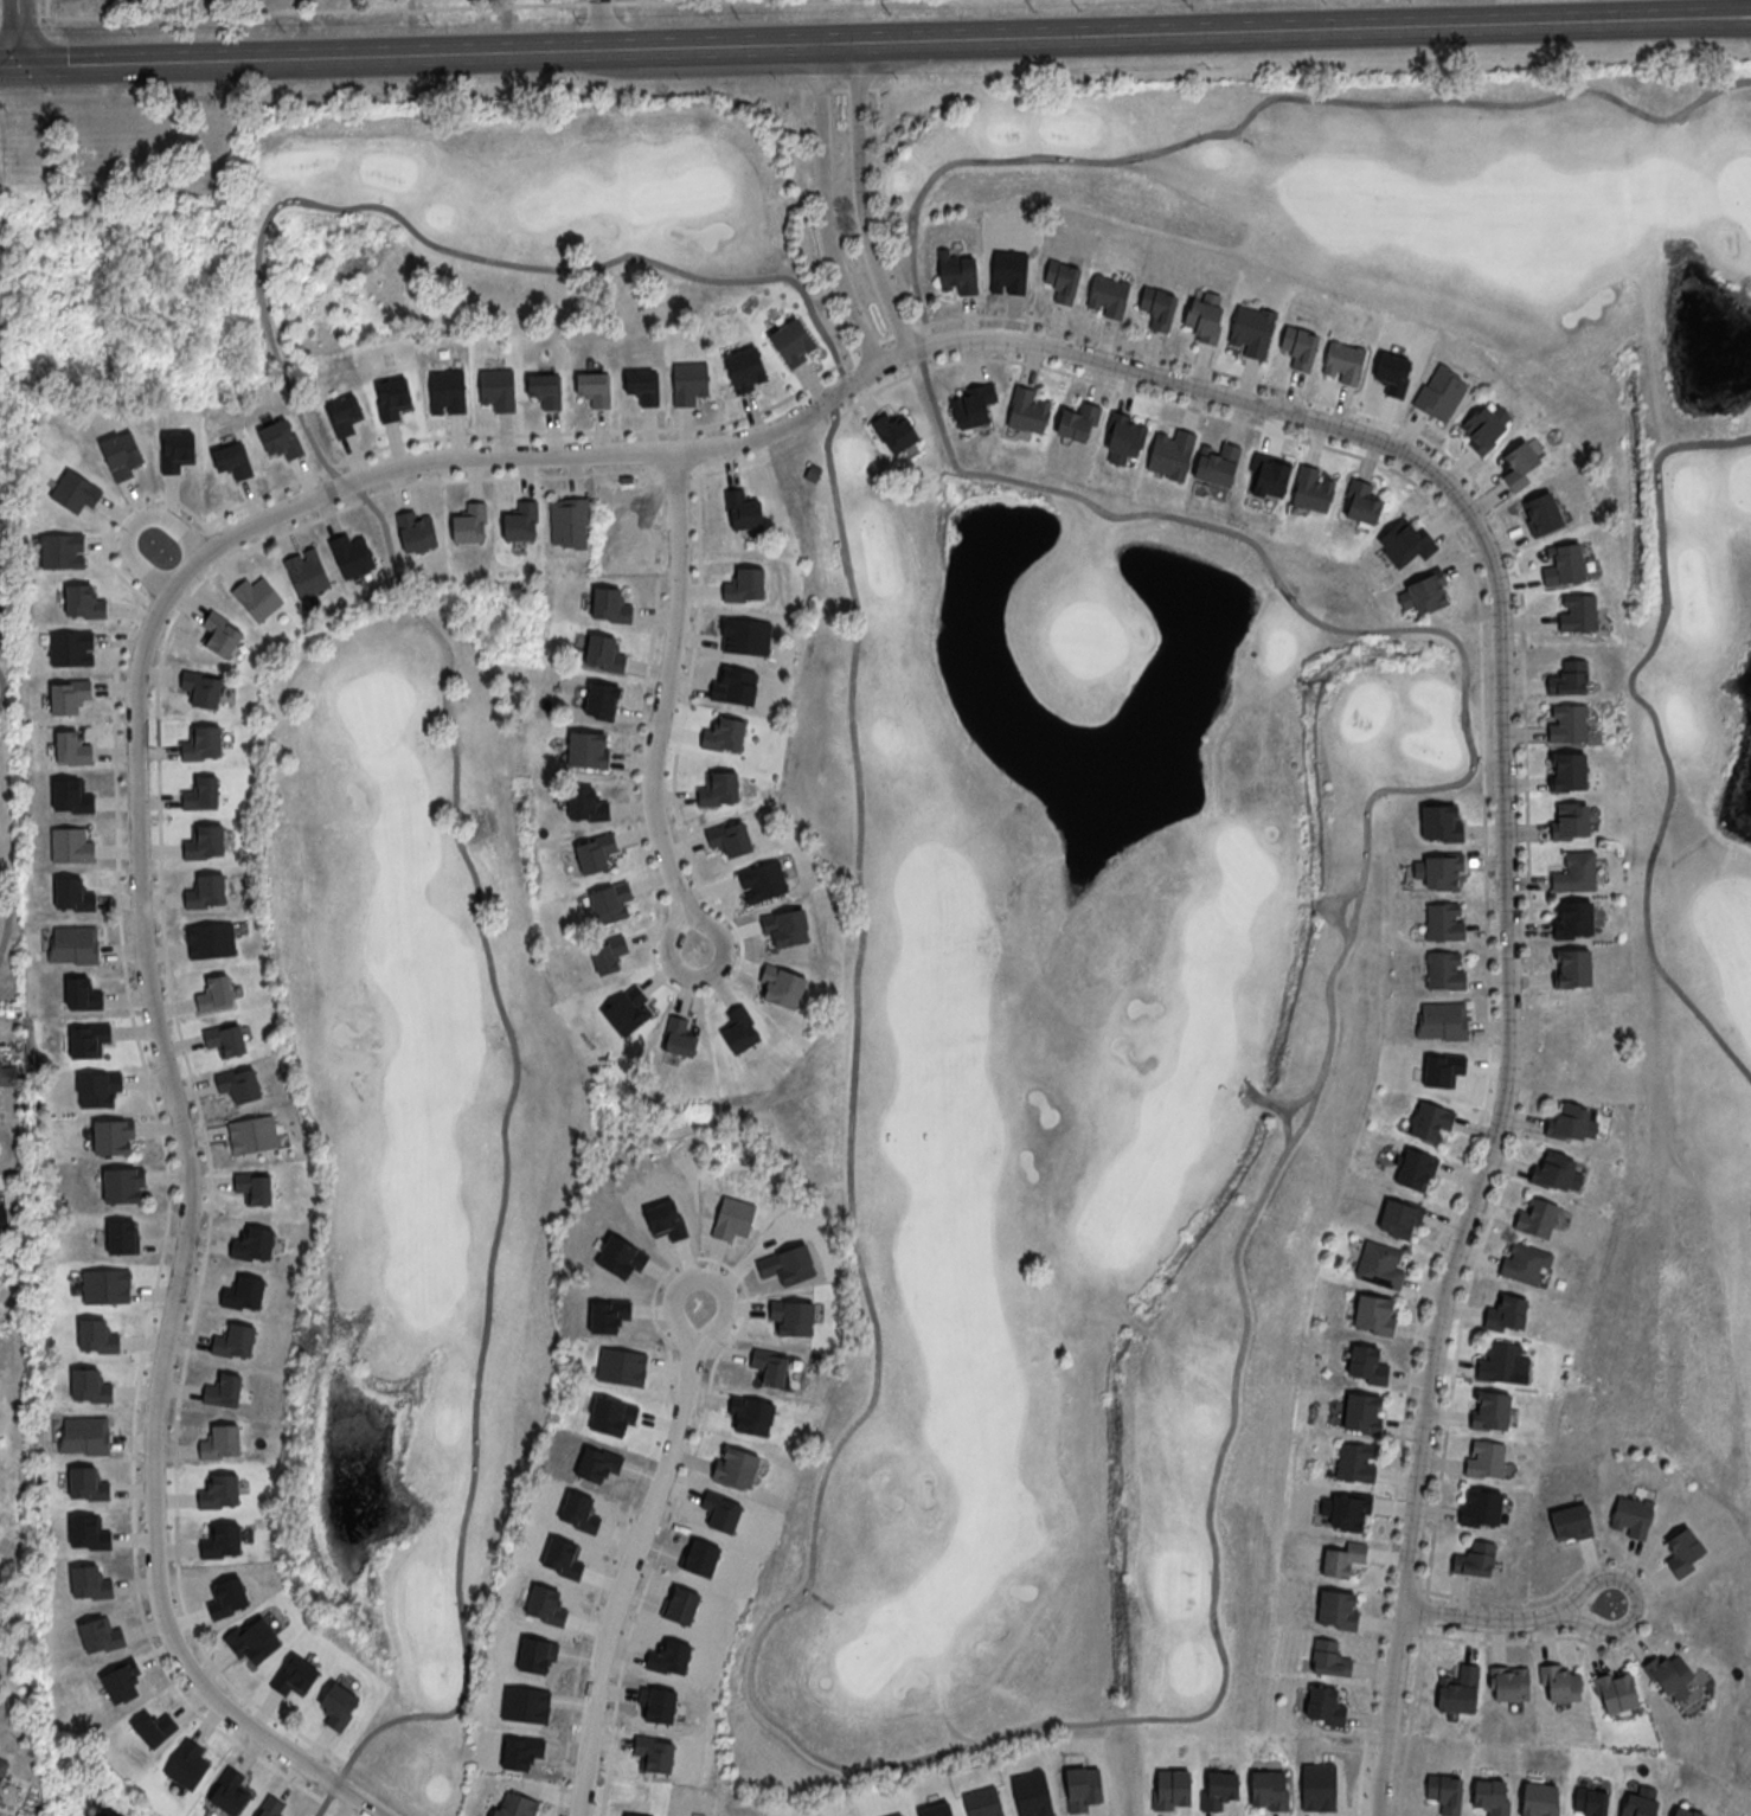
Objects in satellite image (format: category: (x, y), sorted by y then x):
road: (649, 1)
road: (598, 2)
road: (46, 8)
road: (310, 9)
road: (17, 18)
road: (598, 25)
road: (1303, 30)
road: (17, 32)
road: (601, 49)
road: (173, 60)
traffic signals: (19, 64)
road: (1253, 108)
road: (284, 201)
road: (860, 201)
road: (826, 208)
road: (269, 213)
road: (262, 232)
road: (597, 264)
building: (1012, 264)
building: (957, 274)
building: (1063, 282)
building: (1107, 296)
building: (1157, 307)
building: (1205, 319)
building: (1250, 332)
building: (793, 341)
building: (1298, 346)
building: (1343, 364)
road: (1191, 365)
road: (283, 371)
building: (745, 371)
building: (688, 381)
building: (643, 389)
building: (498, 390)
building: (594, 390)
building: (447, 392)
building: (545, 392)
building: (1441, 393)
road: (1219, 394)
building: (393, 400)
building: (973, 406)
building: (1027, 412)
building: (344, 417)
building: (1077, 423)
building: (894, 429)
building: (1484, 429)
road: (596, 432)
building: (1123, 438)
building: (281, 442)
building: (177, 453)
road: (567, 455)
building: (1170, 455)
building: (232, 460)
building: (1216, 466)
building: (1519, 468)
road: (1402, 474)
building: (1269, 476)
building: (1311, 492)
building: (75, 493)
road: (365, 500)
building: (1361, 503)
building: (742, 509)
building: (1541, 515)
road: (163, 519)
road: (315, 520)
building: (569, 521)
building: (519, 526)
building: (467, 527)
building: (1406, 544)
building: (62, 550)
building: (352, 552)
building: (1563, 566)
road: (141, 570)
building: (306, 571)
road: (4, 582)
building: (744, 585)
building: (1425, 592)
building: (257, 598)
building: (83, 602)
building: (1576, 611)
building: (71, 648)
building: (604, 650)
building: (1569, 678)
road: (667, 684)
road: (1522, 686)
road: (1, 689)
building: (68, 695)
building: (601, 701)
building: (1566, 724)
road: (1657, 727)
building: (201, 742)
building: (72, 747)
building: (588, 749)
building: (1567, 771)
road: (629, 774)
building: (201, 793)
building: (71, 796)
building: (586, 803)
building: (1570, 820)
building: (1441, 822)
building: (733, 839)
building: (204, 841)
building: (71, 846)
building: (594, 852)
park: (996, 866)
building: (1438, 871)
building: (1576, 872)
building: (762, 880)
building: (205, 890)
building: (610, 900)
road: (7, 909)
building: (1572, 918)
building: (1443, 920)
building: (211, 939)
building: (73, 944)
building: (603, 957)
building: (1570, 968)
building: (1443, 970)
road: (705, 977)
building: (216, 993)
building: (1442, 1020)
building: (739, 1028)
building: (679, 1037)
building: (225, 1038)
building: (88, 1039)
building: (7, 1073)
building: (238, 1083)
building: (98, 1086)
road: (7, 1105)
road: (4, 1108)
road: (1282, 1109)
building: (1430, 1122)
building: (1570, 1122)
road: (1285, 1127)
road: (1474, 1130)
building: (252, 1134)
building: (111, 1135)
road: (1493, 1148)
road: (9, 1151)
building: (1415, 1168)
road: (505, 1170)
building: (1556, 1172)
building: (123, 1183)
building: (252, 1187)
building: (1397, 1217)
building: (1535, 1217)
building: (2, 1219)
road: (166, 1232)
building: (120, 1236)
building: (252, 1244)
road: (184, 1252)
building: (1525, 1263)
building: (1379, 1264)
road: (703, 1276)
building: (105, 1286)
building: (243, 1292)
building: (1506, 1313)
building: (1373, 1314)
building: (96, 1336)
building: (233, 1340)
building: (1501, 1362)
building: (1367, 1363)
building: (89, 1385)
building: (223, 1390)
building: (1489, 1410)
building: (1361, 1412)
road: (1402, 1419)
building: (85, 1435)
building: (219, 1442)
road: (1443, 1450)
building: (1486, 1458)
building: (1354, 1462)
building: (735, 1465)
building: (86, 1483)
building: (219, 1490)
building: (1480, 1508)
building: (1348, 1509)
building: (1631, 1515)
building: (1570, 1522)
building: (88, 1532)
building: (220, 1540)
building: (1682, 1551)
building: (1342, 1558)
building: (1474, 1559)
road: (623, 1578)
building: (89, 1581)
road: (1638, 1598)
building: (1336, 1609)
road: (1483, 1619)
building: (100, 1635)
building: (1328, 1657)
building: (1668, 1675)
building: (122, 1681)
building: (1508, 1683)
building: (1559, 1683)
building: (1457, 1690)
building: (1615, 1690)
road: (1219, 1692)
building: (1326, 1705)
road: (1368, 1718)
park: (1745, 1758)
building: (186, 1764)
building: (2, 1767)
building: (1269, 1789)
building: (1218, 1790)
building: (230, 1791)
building: (1169, 1791)
building: (1444, 1791)
building: (1492, 1796)
building: (1538, 1799)
building: (1590, 1801)
building: (1638, 1803)
building: (514, 1804)
building: (269, 1807)
building: (1685, 1811)

